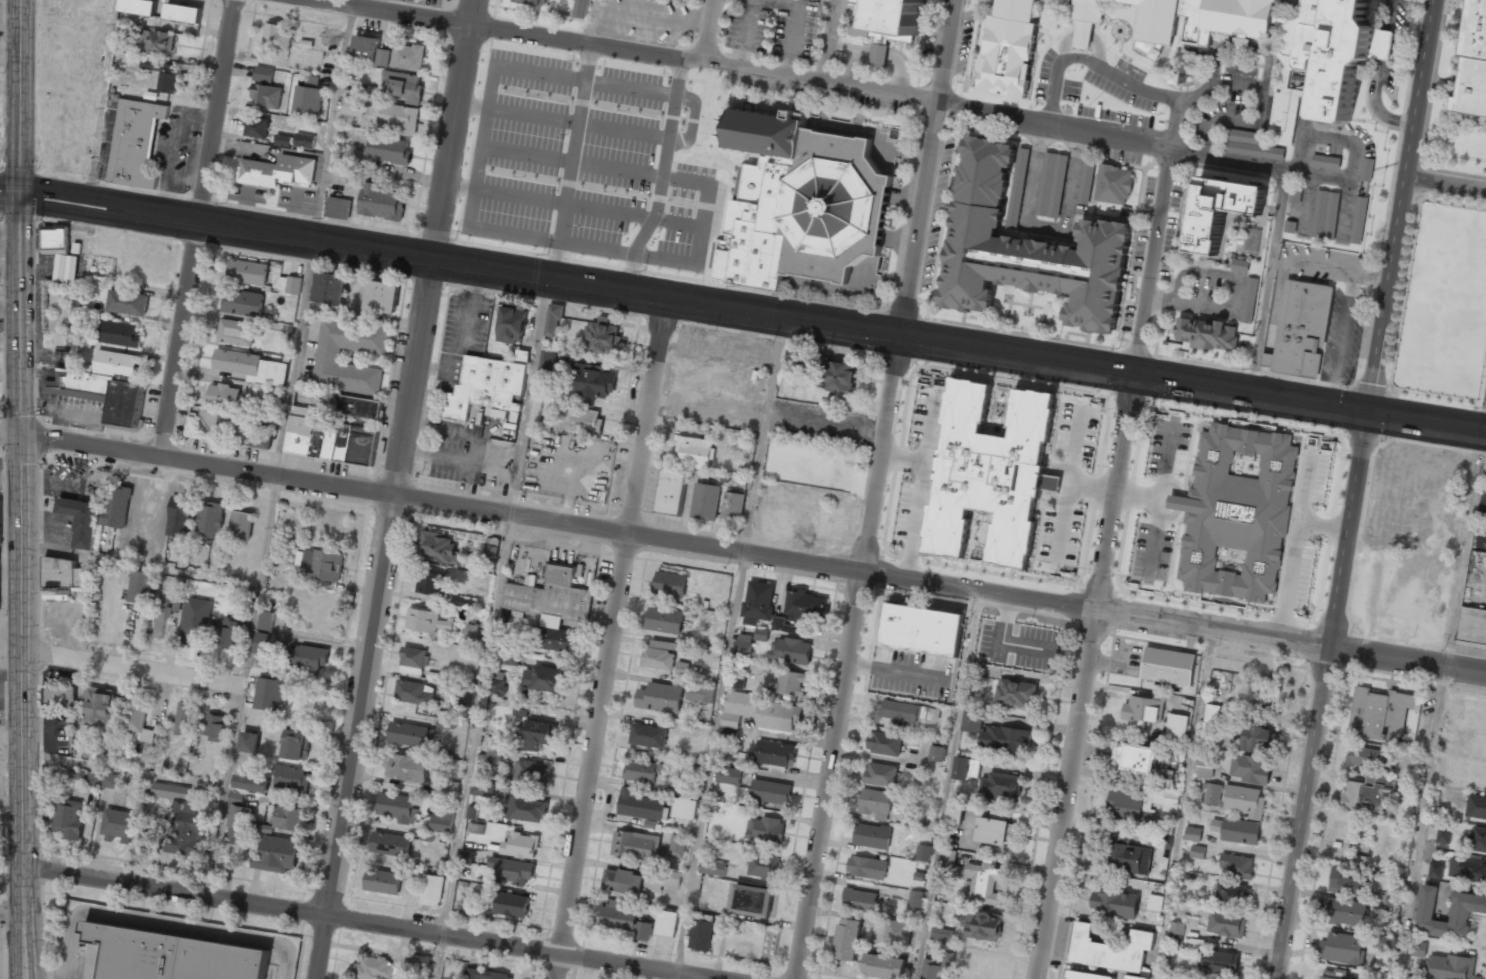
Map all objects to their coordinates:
building: (534, 2)
building: (139, 6)
building: (580, 8)
building: (1015, 10)
building: (183, 13)
road: (650, 16)
building: (1085, 16)
building: (1200, 19)
parking lot: (647, 20)
building: (888, 20)
road: (589, 21)
road: (795, 26)
parking lot: (774, 27)
road: (748, 34)
building: (277, 37)
road: (827, 40)
building: (157, 42)
building: (1241, 45)
building: (366, 46)
building: (403, 57)
building: (1344, 59)
building: (1472, 62)
building: (263, 74)
road: (794, 75)
building: (168, 78)
building: (404, 85)
building: (266, 95)
road: (21, 97)
building: (308, 98)
road: (100, 102)
building: (352, 109)
building: (400, 118)
road: (334, 124)
building: (257, 126)
building: (283, 140)
building: (304, 140)
building: (135, 143)
building: (1249, 144)
building: (389, 149)
building: (1326, 161)
building: (342, 166)
parking lot: (620, 169)
building: (1367, 169)
building: (277, 171)
building: (1086, 181)
road: (1444, 183)
building: (1051, 185)
building: (1113, 185)
building: (1018, 186)
road: (10, 194)
traffic signals: (21, 194)
building: (1295, 194)
building: (381, 202)
building: (802, 203)
building: (338, 207)
building: (1220, 209)
building: (1325, 214)
building: (1359, 220)
road: (196, 229)
building: (1027, 249)
building: (59, 254)
building: (1240, 265)
building: (248, 272)
road: (1269, 282)
building: (290, 284)
building: (330, 288)
building: (382, 296)
building: (1249, 300)
building: (127, 302)
building: (243, 302)
building: (57, 308)
road: (753, 311)
building: (553, 320)
building: (512, 324)
building: (1300, 328)
building: (236, 332)
building: (120, 334)
building: (1207, 334)
building: (602, 337)
road: (296, 359)
building: (327, 359)
building: (548, 359)
building: (793, 361)
building: (813, 366)
building: (252, 370)
building: (838, 376)
building: (591, 381)
building: (106, 387)
building: (485, 387)
building: (223, 395)
traffic signals: (1365, 411)
building: (584, 419)
building: (226, 422)
building: (329, 438)
building: (263, 442)
building: (694, 452)
building: (1484, 468)
building: (989, 472)
road: (394, 489)
road: (638, 489)
road: (874, 489)
road: (1352, 489)
building: (671, 491)
building: (705, 501)
building: (117, 506)
building: (733, 506)
building: (1235, 512)
building: (180, 516)
building: (210, 518)
building: (81, 520)
building: (241, 524)
building: (438, 547)
road: (1465, 551)
road: (743, 553)
building: (490, 555)
road: (1103, 563)
building: (321, 564)
building: (63, 573)
building: (670, 584)
building: (432, 585)
road: (21, 586)
building: (140, 586)
building: (56, 596)
building: (759, 600)
building: (465, 602)
building: (805, 605)
building: (551, 606)
building: (162, 614)
building: (265, 620)
building: (426, 620)
building: (664, 620)
building: (1009, 624)
building: (1472, 625)
road: (492, 628)
building: (922, 629)
building: (190, 633)
building: (226, 633)
building: (471, 634)
building: (762, 634)
building: (265, 643)
building: (743, 644)
road: (729, 646)
building: (790, 650)
building: (306, 658)
building: (512, 658)
building: (414, 660)
building: (1168, 666)
road: (968, 667)
road: (132, 668)
building: (682, 668)
building: (940, 675)
building: (542, 678)
building: (738, 681)
building: (497, 683)
building: (790, 683)
road: (241, 688)
building: (415, 692)
building: (268, 693)
building: (700, 693)
building: (1016, 693)
building: (59, 696)
building: (466, 697)
building: (660, 698)
building: (738, 707)
building: (101, 708)
building: (1143, 709)
building: (907, 711)
building: (136, 713)
building: (1379, 714)
building: (778, 716)
building: (184, 718)
building: (971, 718)
building: (1211, 718)
building: (444, 724)
building: (214, 727)
building: (1176, 727)
building: (408, 734)
building: (539, 734)
building: (648, 735)
building: (729, 735)
building: (1257, 737)
building: (1003, 738)
building: (249, 742)
building: (884, 743)
building: (296, 744)
building: (775, 753)
building: (938, 753)
building: (493, 755)
building: (1135, 758)
building: (1370, 758)
building: (407, 767)
building: (1205, 767)
building: (966, 768)
building: (1249, 768)
road: (125, 769)
building: (641, 771)
building: (532, 772)
building: (880, 774)
building: (727, 775)
building: (86, 776)
building: (1164, 778)
building: (290, 779)
building: (109, 781)
building: (251, 781)
building: (1000, 785)
building: (452, 788)
building: (482, 788)
building: (770, 792)
building: (1366, 792)
building: (1212, 794)
building: (236, 797)
building: (1244, 800)
building: (874, 804)
road: (1189, 804)
building: (640, 805)
building: (1140, 805)
building: (397, 807)
building: (1476, 807)
building: (525, 808)
building: (684, 808)
building: (472, 812)
building: (910, 815)
building: (954, 816)
building: (288, 817)
building: (68, 818)
building: (183, 820)
building: (442, 822)
road: (1422, 823)
building: (120, 825)
building: (238, 825)
building: (478, 828)
building: (765, 829)
building: (1237, 830)
building: (992, 831)
building: (1193, 833)
building: (872, 835)
building: (1443, 835)
building: (1477, 839)
building: (1165, 843)
building: (390, 844)
building: (520, 845)
building: (636, 845)
building: (677, 845)
building: (1197, 851)
building: (923, 853)
building: (277, 854)
building: (467, 856)
building: (1130, 858)
building: (948, 861)
building: (711, 865)
building: (763, 865)
building: (1236, 866)
building: (867, 867)
building: (511, 870)
building: (1435, 870)
building: (1467, 870)
building: (661, 879)
building: (382, 881)
building: (623, 881)
building: (1349, 881)
building: (982, 883)
building: (432, 890)
building: (752, 899)
building: (915, 899)
building: (1393, 899)
building: (859, 900)
building: (1114, 902)
building: (1154, 903)
building: (512, 904)
building: (1345, 911)
building: (1460, 912)
road: (11, 913)
building: (619, 915)
road: (358, 922)
building: (666, 923)
building: (983, 925)
building: (1226, 925)
building: (643, 930)
building: (1176, 932)
building: (700, 933)
building: (897, 933)
building: (941, 934)
building: (847, 939)
building: (1386, 943)
building: (1342, 948)
building: (1110, 949)
building: (1418, 949)
building: (172, 956)
building: (1220, 961)
building: (884, 966)
building: (1449, 967)
building: (375, 968)
building: (930, 970)
building: (486, 974)
building: (1333, 974)
building: (1087, 976)
road: (675, 977)
building: (1134, 977)
building: (1406, 978)

